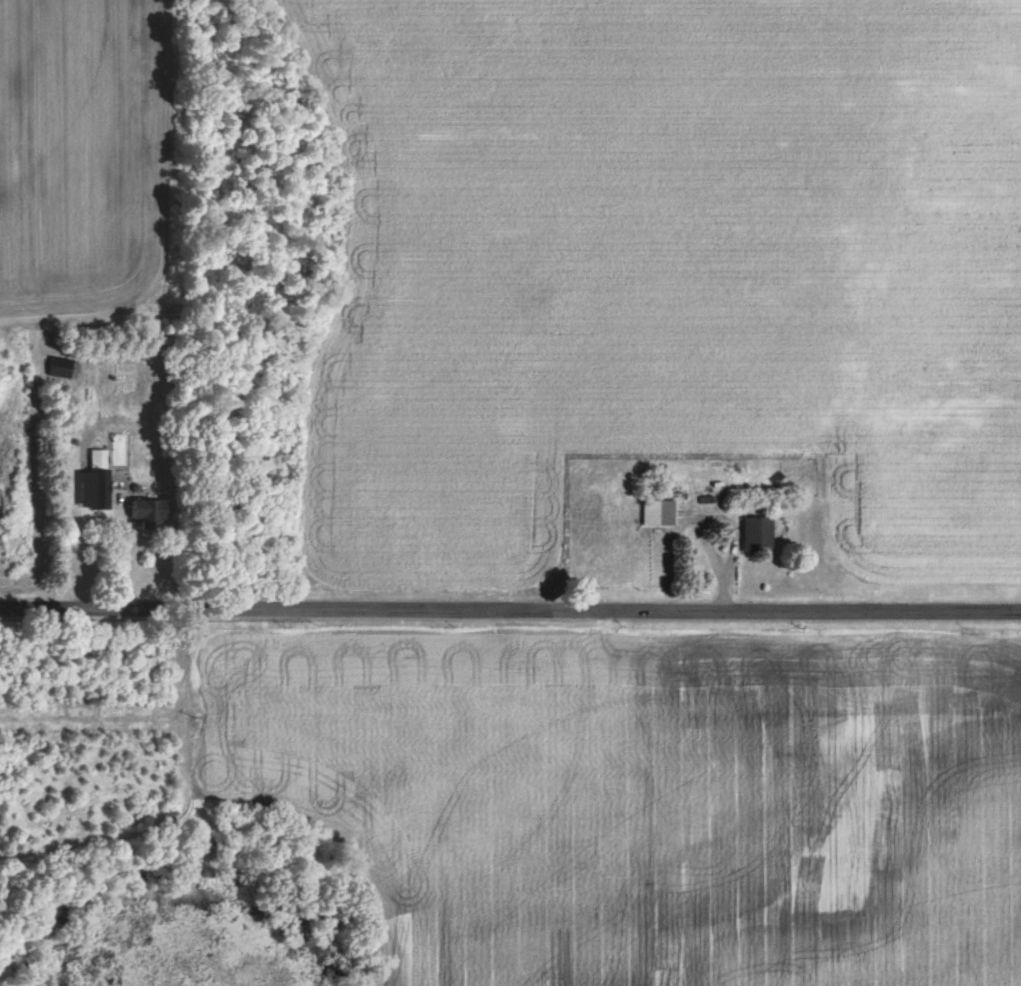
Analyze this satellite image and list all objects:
crop: (87, 154)
crop: (676, 261)
building: (97, 478)
building: (775, 480)
building: (671, 501)
building: (147, 513)
building: (755, 535)
road: (510, 612)

